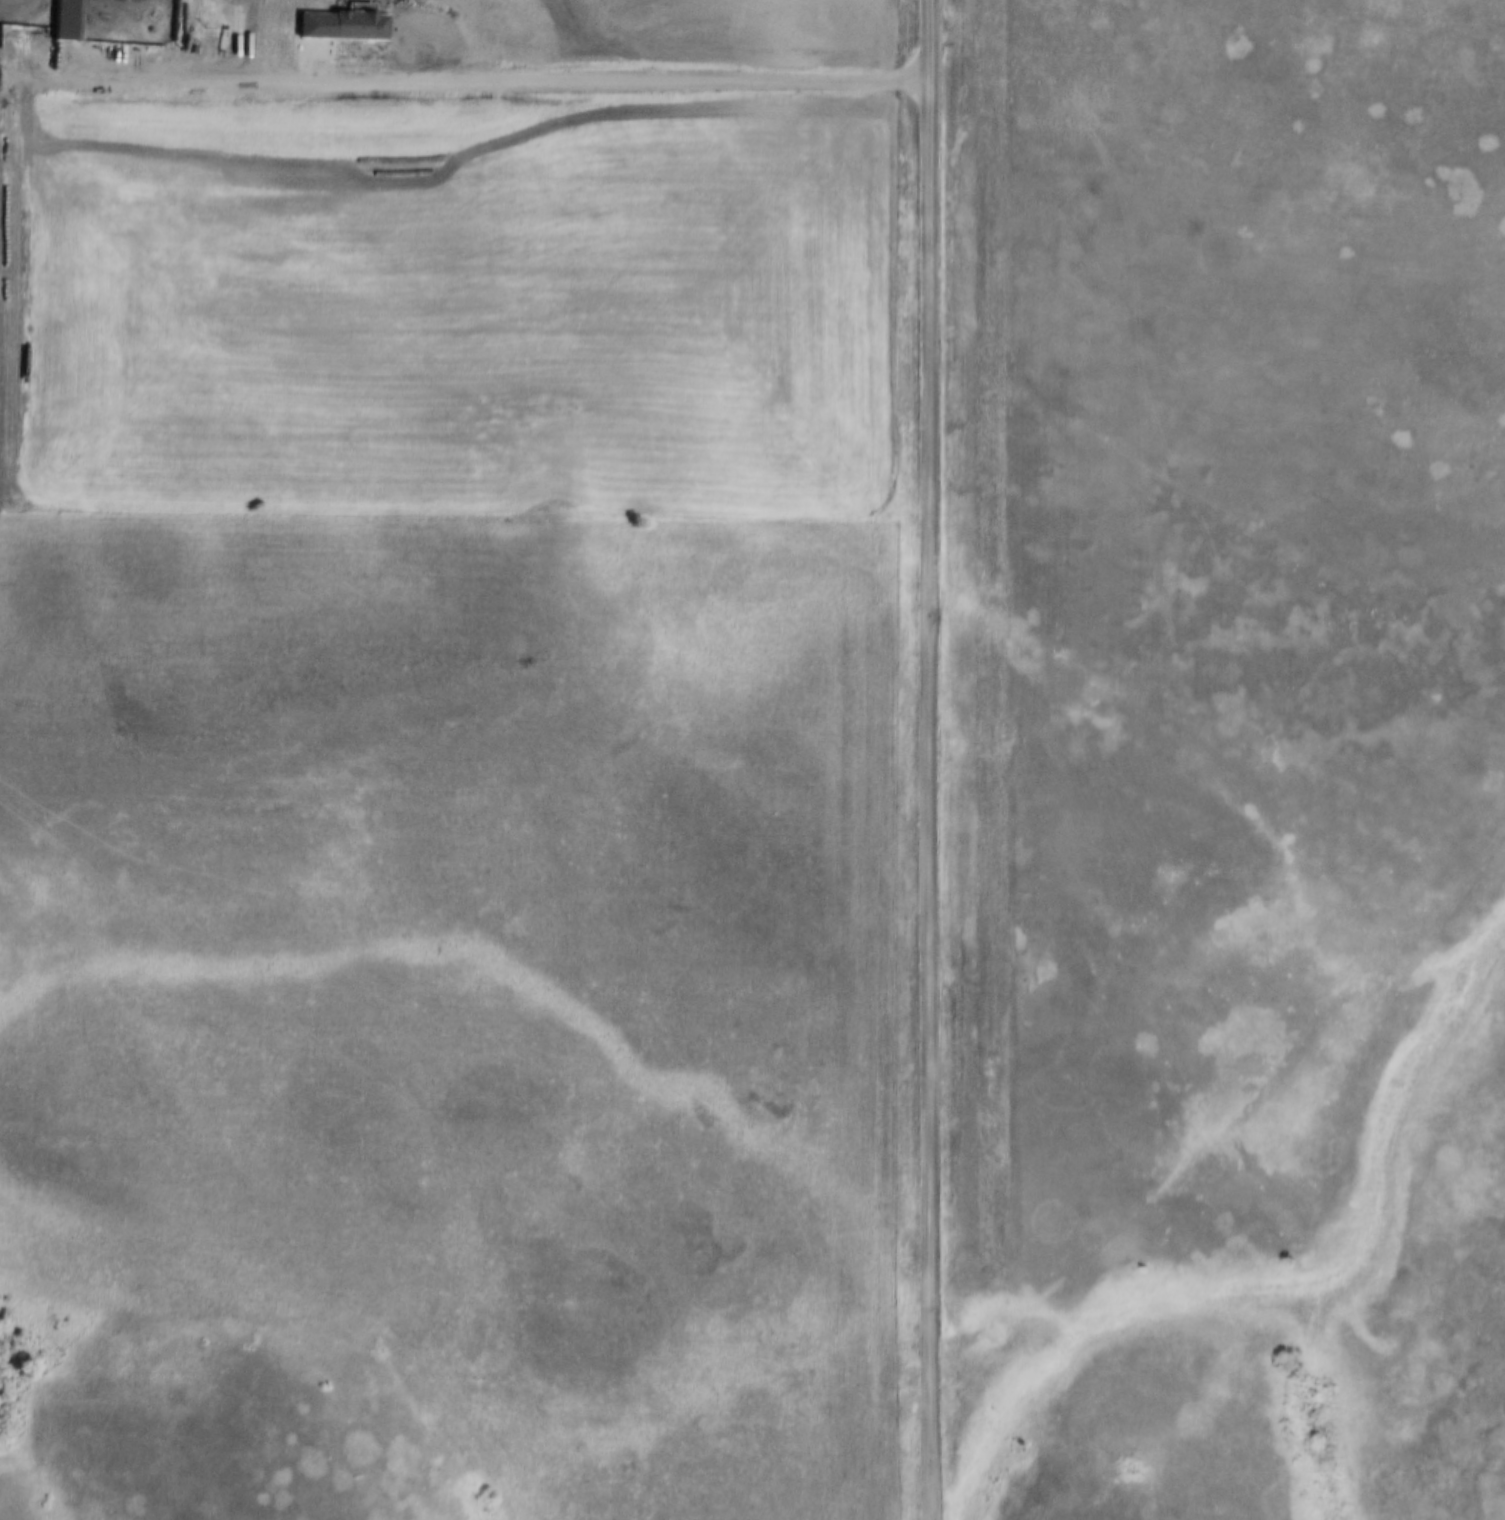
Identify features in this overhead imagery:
road: (941, 760)
road: (1460, 887)

